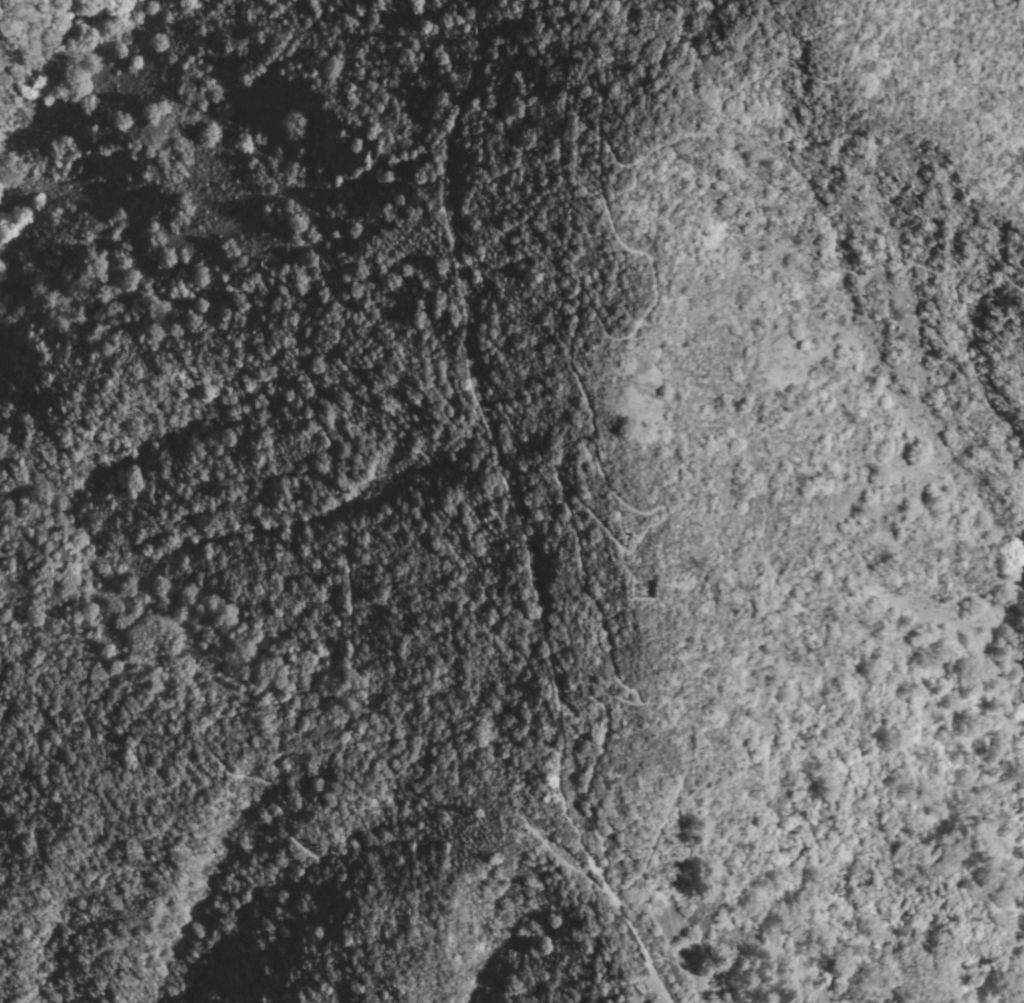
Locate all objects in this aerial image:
road: (330, 292)
road: (469, 383)
road: (590, 410)
road: (747, 488)

